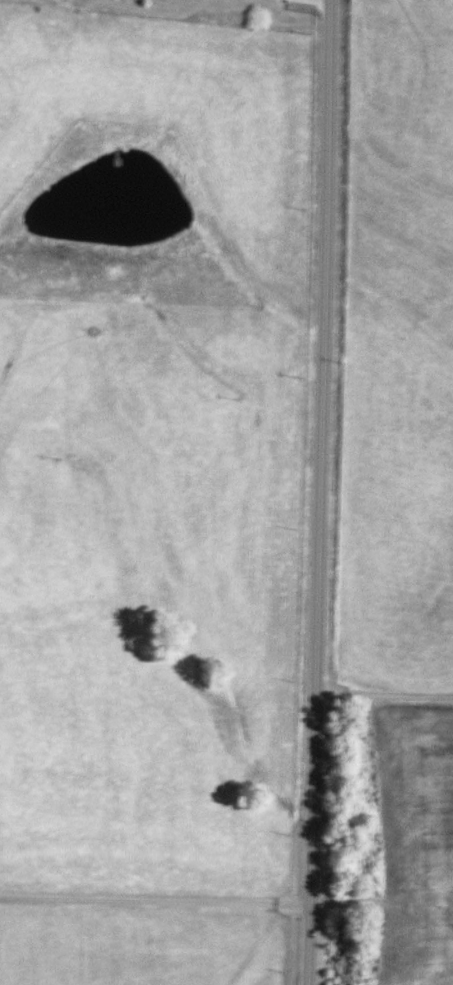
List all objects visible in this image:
road: (319, 492)
road: (155, 900)

